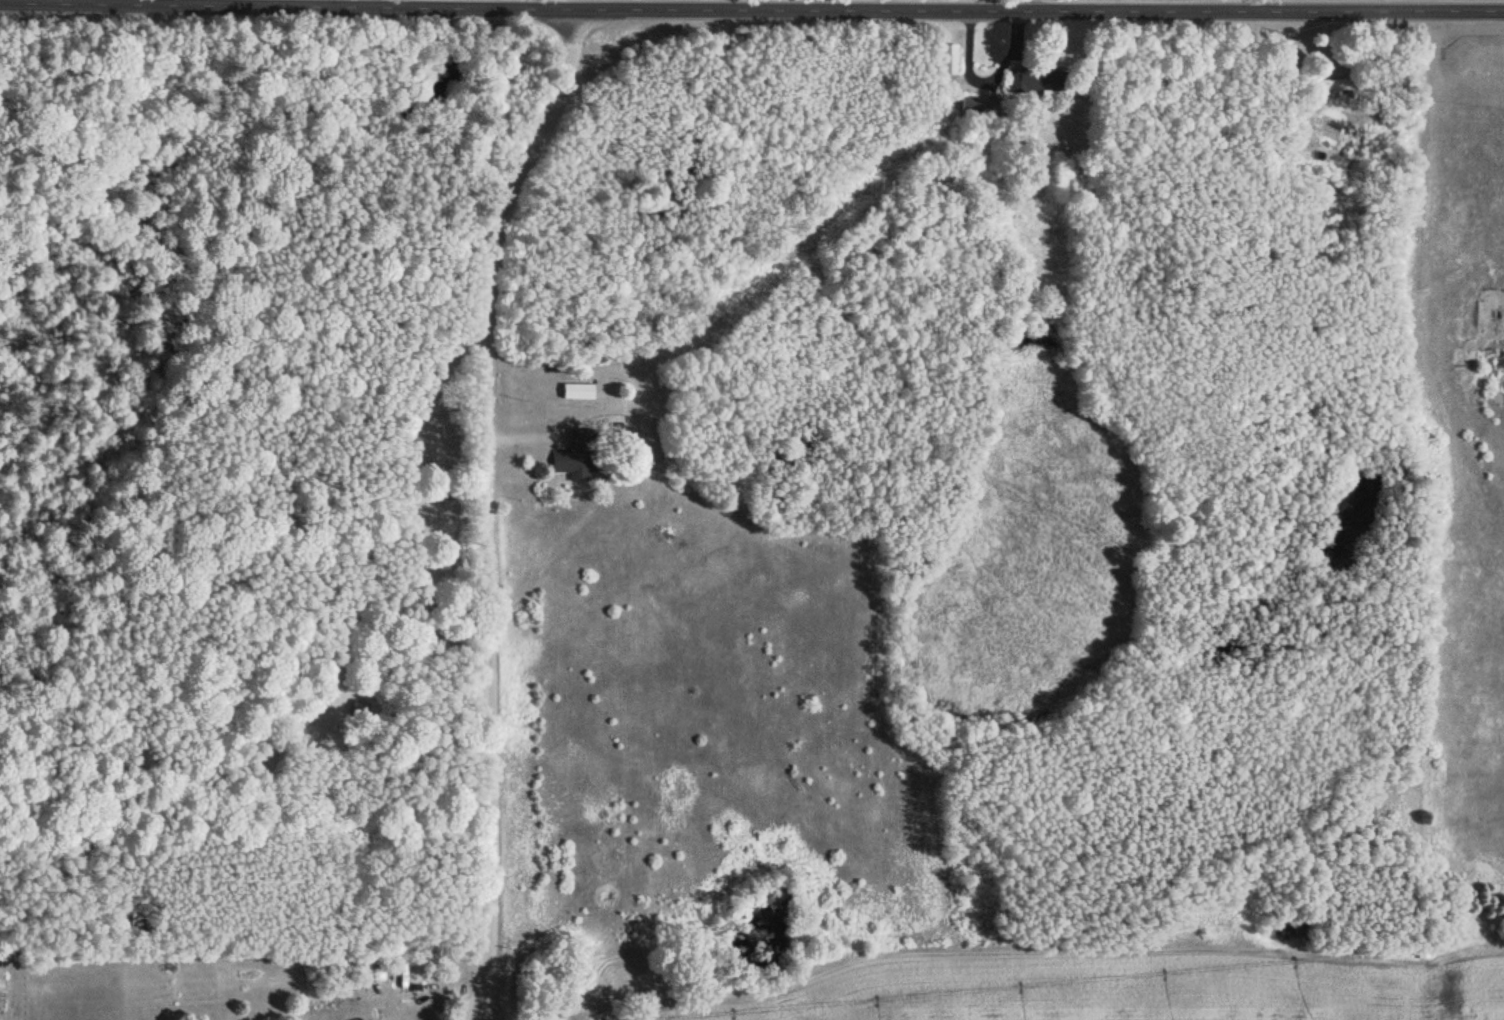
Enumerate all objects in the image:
road: (1032, 6)
road: (751, 10)
building: (943, 61)
building: (1036, 81)
building: (1329, 85)
building: (975, 108)
building: (571, 465)
road: (489, 507)

